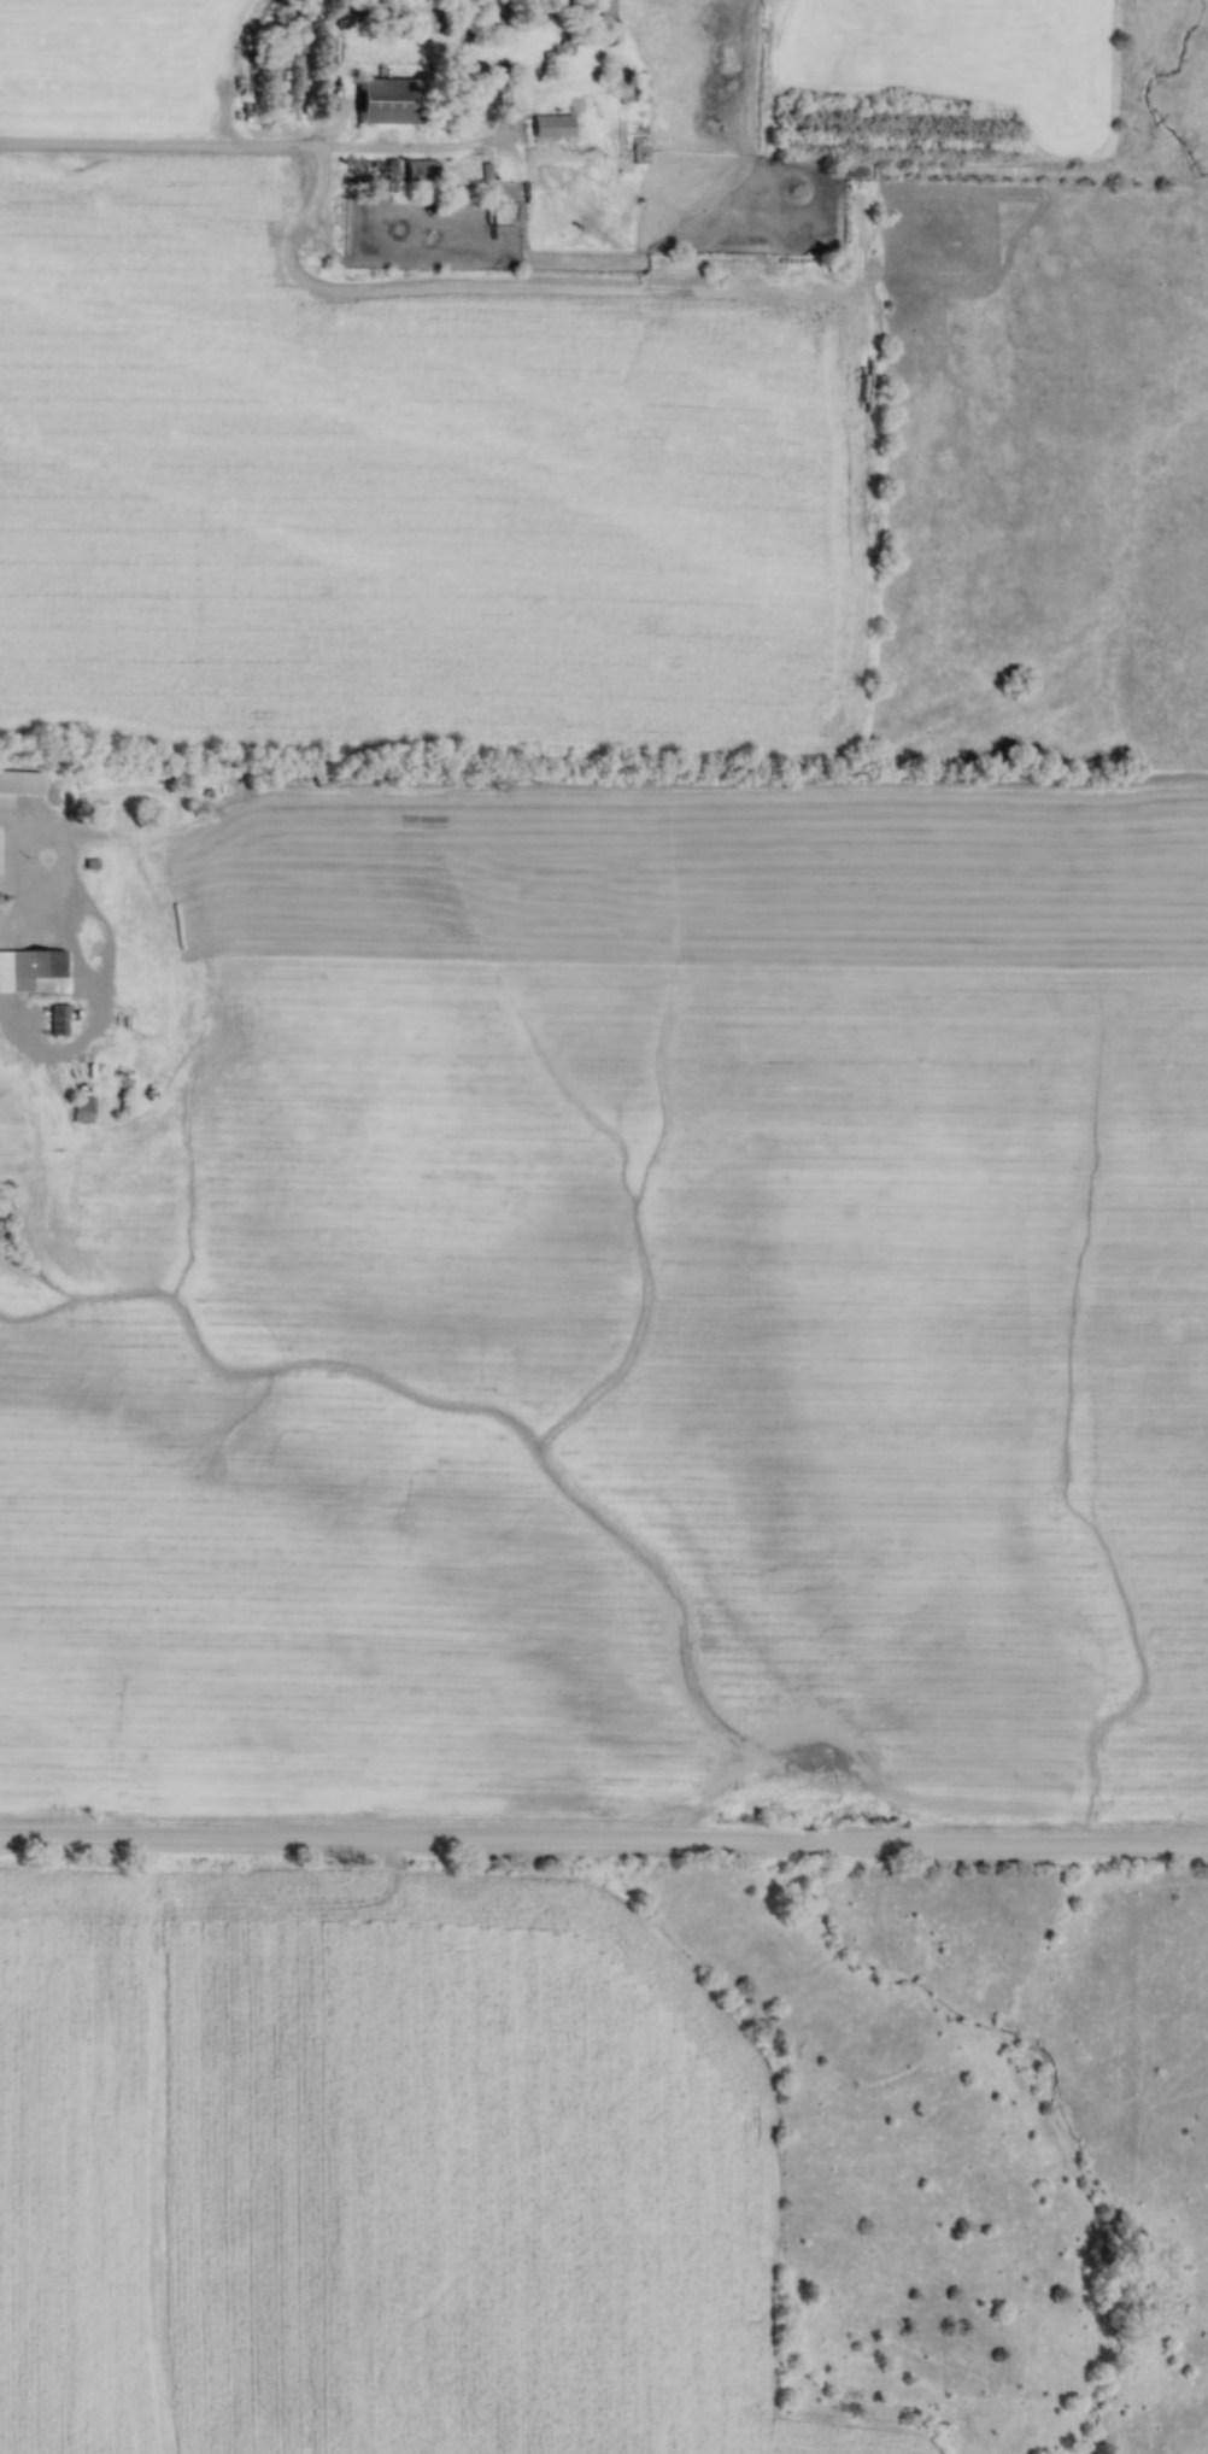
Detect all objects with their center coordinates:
building: (605, 6)
building: (633, 88)
building: (382, 100)
building: (549, 124)
road: (251, 150)
building: (637, 150)
building: (417, 170)
building: (10, 780)
building: (41, 971)
building: (57, 1019)
building: (80, 1108)
road: (604, 1841)

